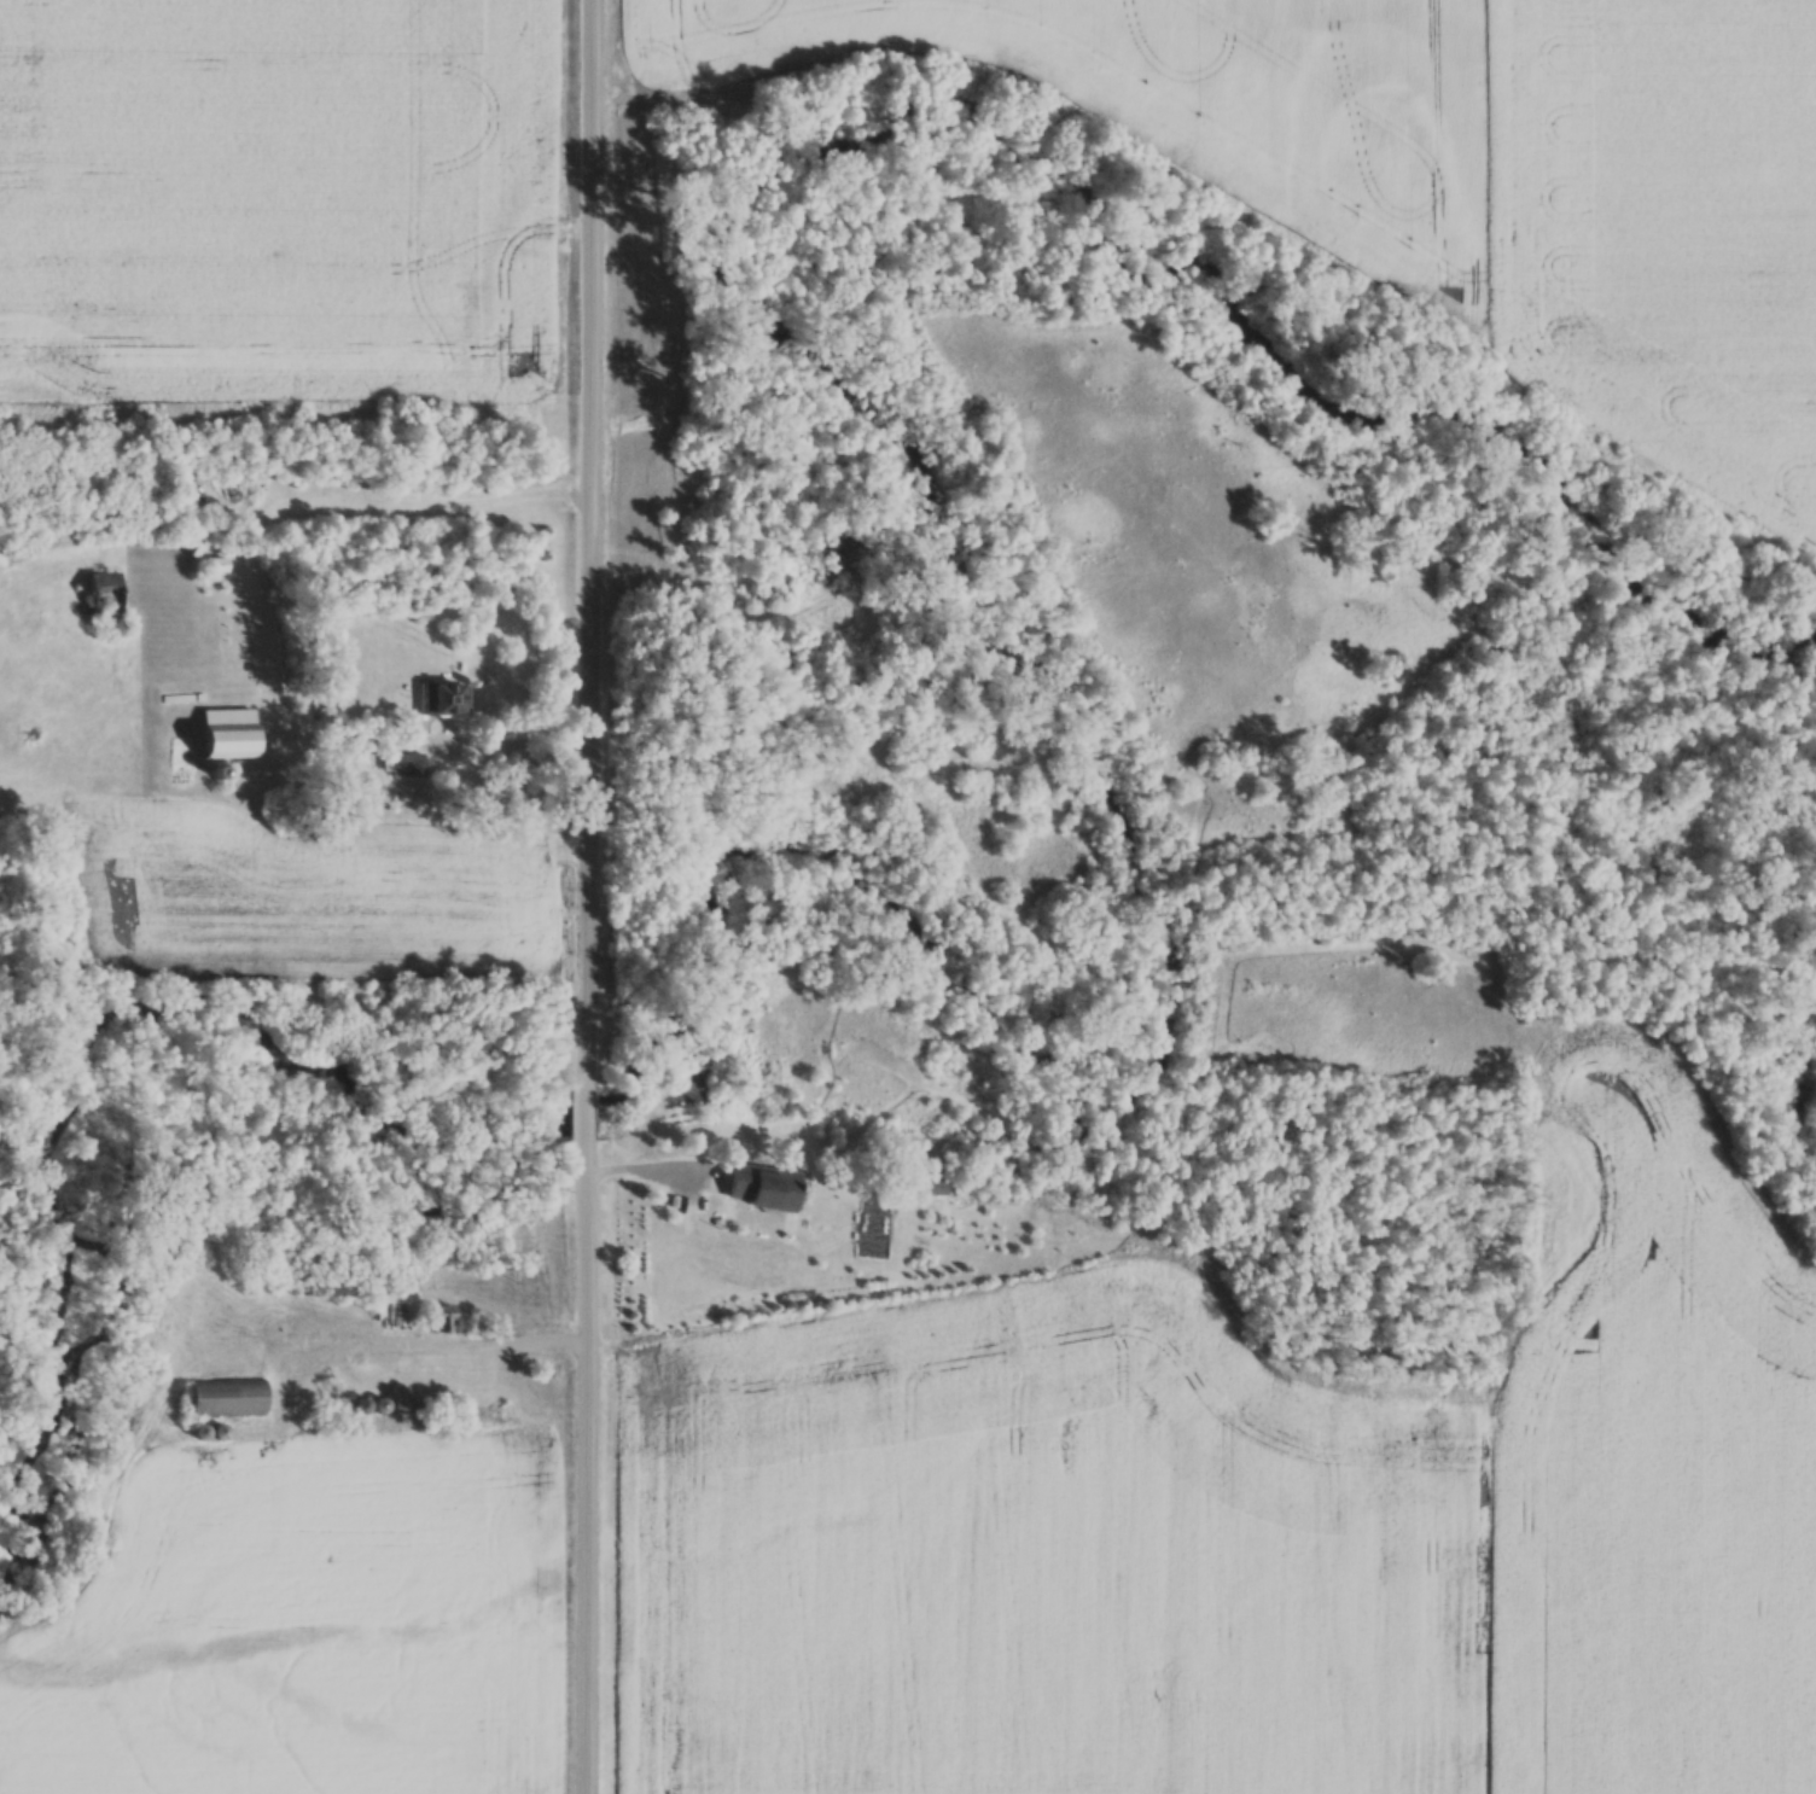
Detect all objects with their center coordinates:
building: (107, 592)
building: (447, 698)
building: (232, 733)
building: (411, 764)
road: (594, 896)
river: (1174, 1006)
building: (768, 1196)
building: (231, 1398)

